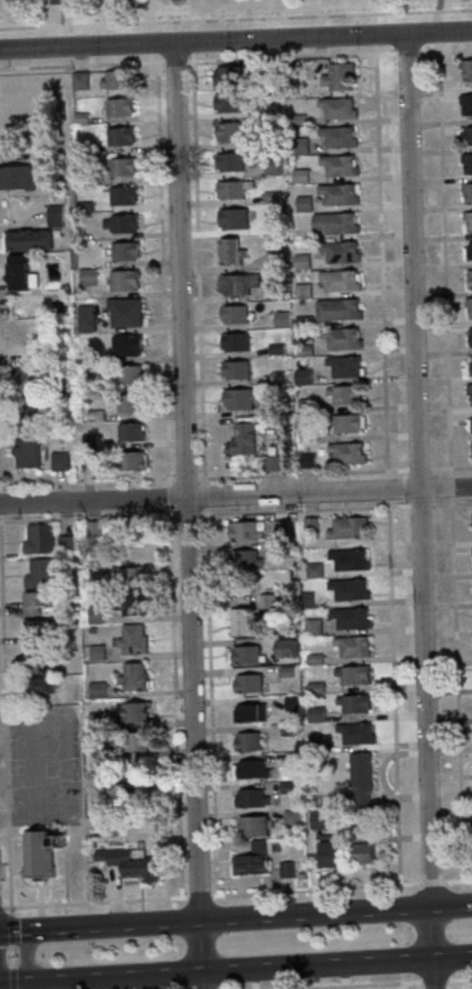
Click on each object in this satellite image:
park: (194, 9)
road: (61, 12)
road: (235, 18)
road: (436, 25)
road: (235, 40)
road: (445, 50)
road: (407, 52)
road: (230, 59)
building: (466, 70)
building: (226, 75)
building: (338, 76)
building: (116, 79)
building: (79, 81)
road: (157, 82)
road: (193, 101)
building: (227, 102)
building: (466, 104)
building: (118, 107)
building: (337, 108)
building: (268, 109)
building: (80, 117)
building: (298, 120)
building: (232, 131)
building: (119, 136)
building: (467, 136)
building: (337, 137)
building: (299, 146)
building: (81, 147)
building: (231, 161)
building: (466, 162)
building: (338, 165)
building: (272, 166)
building: (120, 167)
building: (299, 176)
building: (16, 177)
building: (81, 178)
building: (233, 189)
building: (467, 193)
building: (337, 194)
building: (122, 196)
building: (271, 197)
building: (303, 204)
building: (84, 206)
building: (55, 216)
building: (232, 218)
building: (468, 220)
building: (121, 223)
building: (335, 223)
building: (272, 228)
building: (28, 240)
road: (380, 245)
building: (124, 251)
building: (230, 251)
building: (469, 251)
building: (339, 252)
building: (274, 260)
building: (301, 262)
building: (20, 273)
building: (87, 277)
building: (469, 279)
building: (123, 280)
building: (339, 280)
building: (237, 283)
building: (274, 291)
building: (302, 291)
building: (468, 307)
building: (337, 310)
building: (124, 312)
building: (236, 313)
building: (85, 318)
building: (281, 319)
building: (303, 321)
building: (9, 334)
building: (470, 337)
building: (341, 338)
building: (234, 342)
building: (126, 345)
building: (276, 349)
building: (304, 350)
building: (86, 358)
building: (345, 367)
building: (470, 368)
building: (236, 369)
building: (129, 375)
building: (277, 377)
building: (303, 377)
building: (23, 384)
building: (469, 390)
building: (344, 394)
building: (239, 398)
building: (129, 403)
building: (305, 405)
building: (281, 409)
building: (24, 420)
building: (346, 423)
building: (471, 423)
building: (130, 432)
building: (307, 434)
building: (241, 439)
building: (89, 441)
building: (471, 444)
building: (26, 452)
building: (346, 453)
building: (471, 455)
building: (89, 460)
building: (307, 460)
building: (59, 461)
building: (131, 461)
building: (272, 463)
road: (418, 470)
road: (386, 489)
road: (236, 495)
road: (0, 509)
road: (186, 516)
building: (471, 516)
building: (310, 525)
building: (346, 527)
building: (92, 528)
building: (280, 528)
building: (243, 531)
building: (38, 539)
building: (64, 543)
building: (471, 552)
building: (244, 560)
building: (348, 560)
building: (313, 571)
building: (41, 575)
building: (129, 577)
building: (347, 589)
building: (305, 600)
building: (266, 602)
building: (36, 603)
building: (131, 603)
building: (95, 615)
building: (349, 618)
building: (239, 622)
building: (312, 627)
building: (35, 632)
building: (132, 640)
building: (351, 646)
building: (283, 648)
building: (95, 653)
building: (244, 655)
building: (313, 659)
building: (34, 660)
building: (285, 672)
building: (352, 675)
building: (133, 677)
building: (246, 683)
building: (314, 688)
building: (39, 689)
building: (97, 690)
road: (392, 696)
building: (291, 703)
building: (352, 703)
building: (132, 712)
building: (249, 713)
road: (5, 714)
building: (314, 715)
building: (97, 722)
building: (287, 730)
building: (354, 734)
building: (138, 742)
building: (246, 742)
building: (315, 743)
building: (96, 750)
building: (292, 761)
parking lot: (42, 765)
building: (250, 770)
building: (359, 777)
building: (287, 788)
building: (250, 799)
building: (290, 818)
building: (317, 818)
building: (253, 826)
building: (110, 833)
building: (361, 850)
building: (330, 854)
building: (40, 855)
building: (251, 860)
building: (128, 864)
building: (285, 870)
building: (299, 876)
road: (458, 881)
road: (429, 883)
road: (208, 896)
road: (451, 906)
road: (1, 907)
road: (234, 918)
road: (11, 928)
road: (19, 930)
road: (430, 933)
road: (26, 954)
road: (12, 956)
road: (451, 957)
road: (464, 967)
road: (233, 970)
road: (431, 973)
road: (402, 974)
road: (11, 978)
road: (459, 978)
road: (434, 980)
road: (17, 982)
road: (354, 984)
road: (219, 987)

